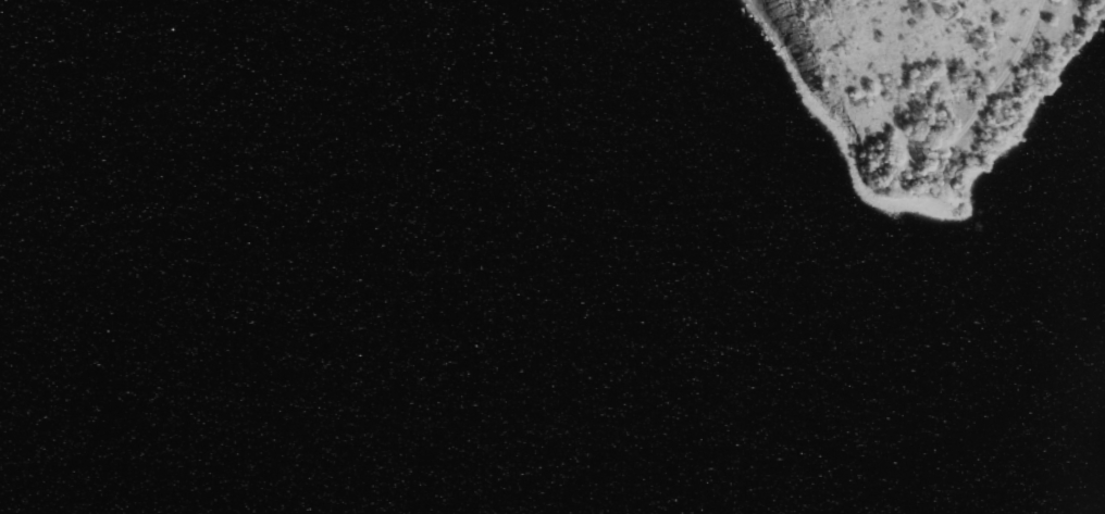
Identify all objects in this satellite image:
road: (992, 83)
road: (898, 150)

